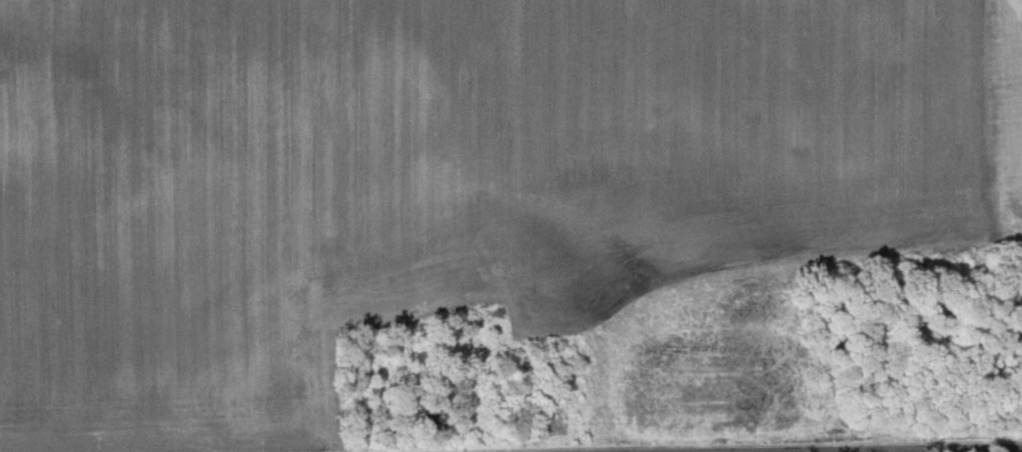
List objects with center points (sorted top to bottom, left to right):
building: (425, 419)
road: (977, 451)

